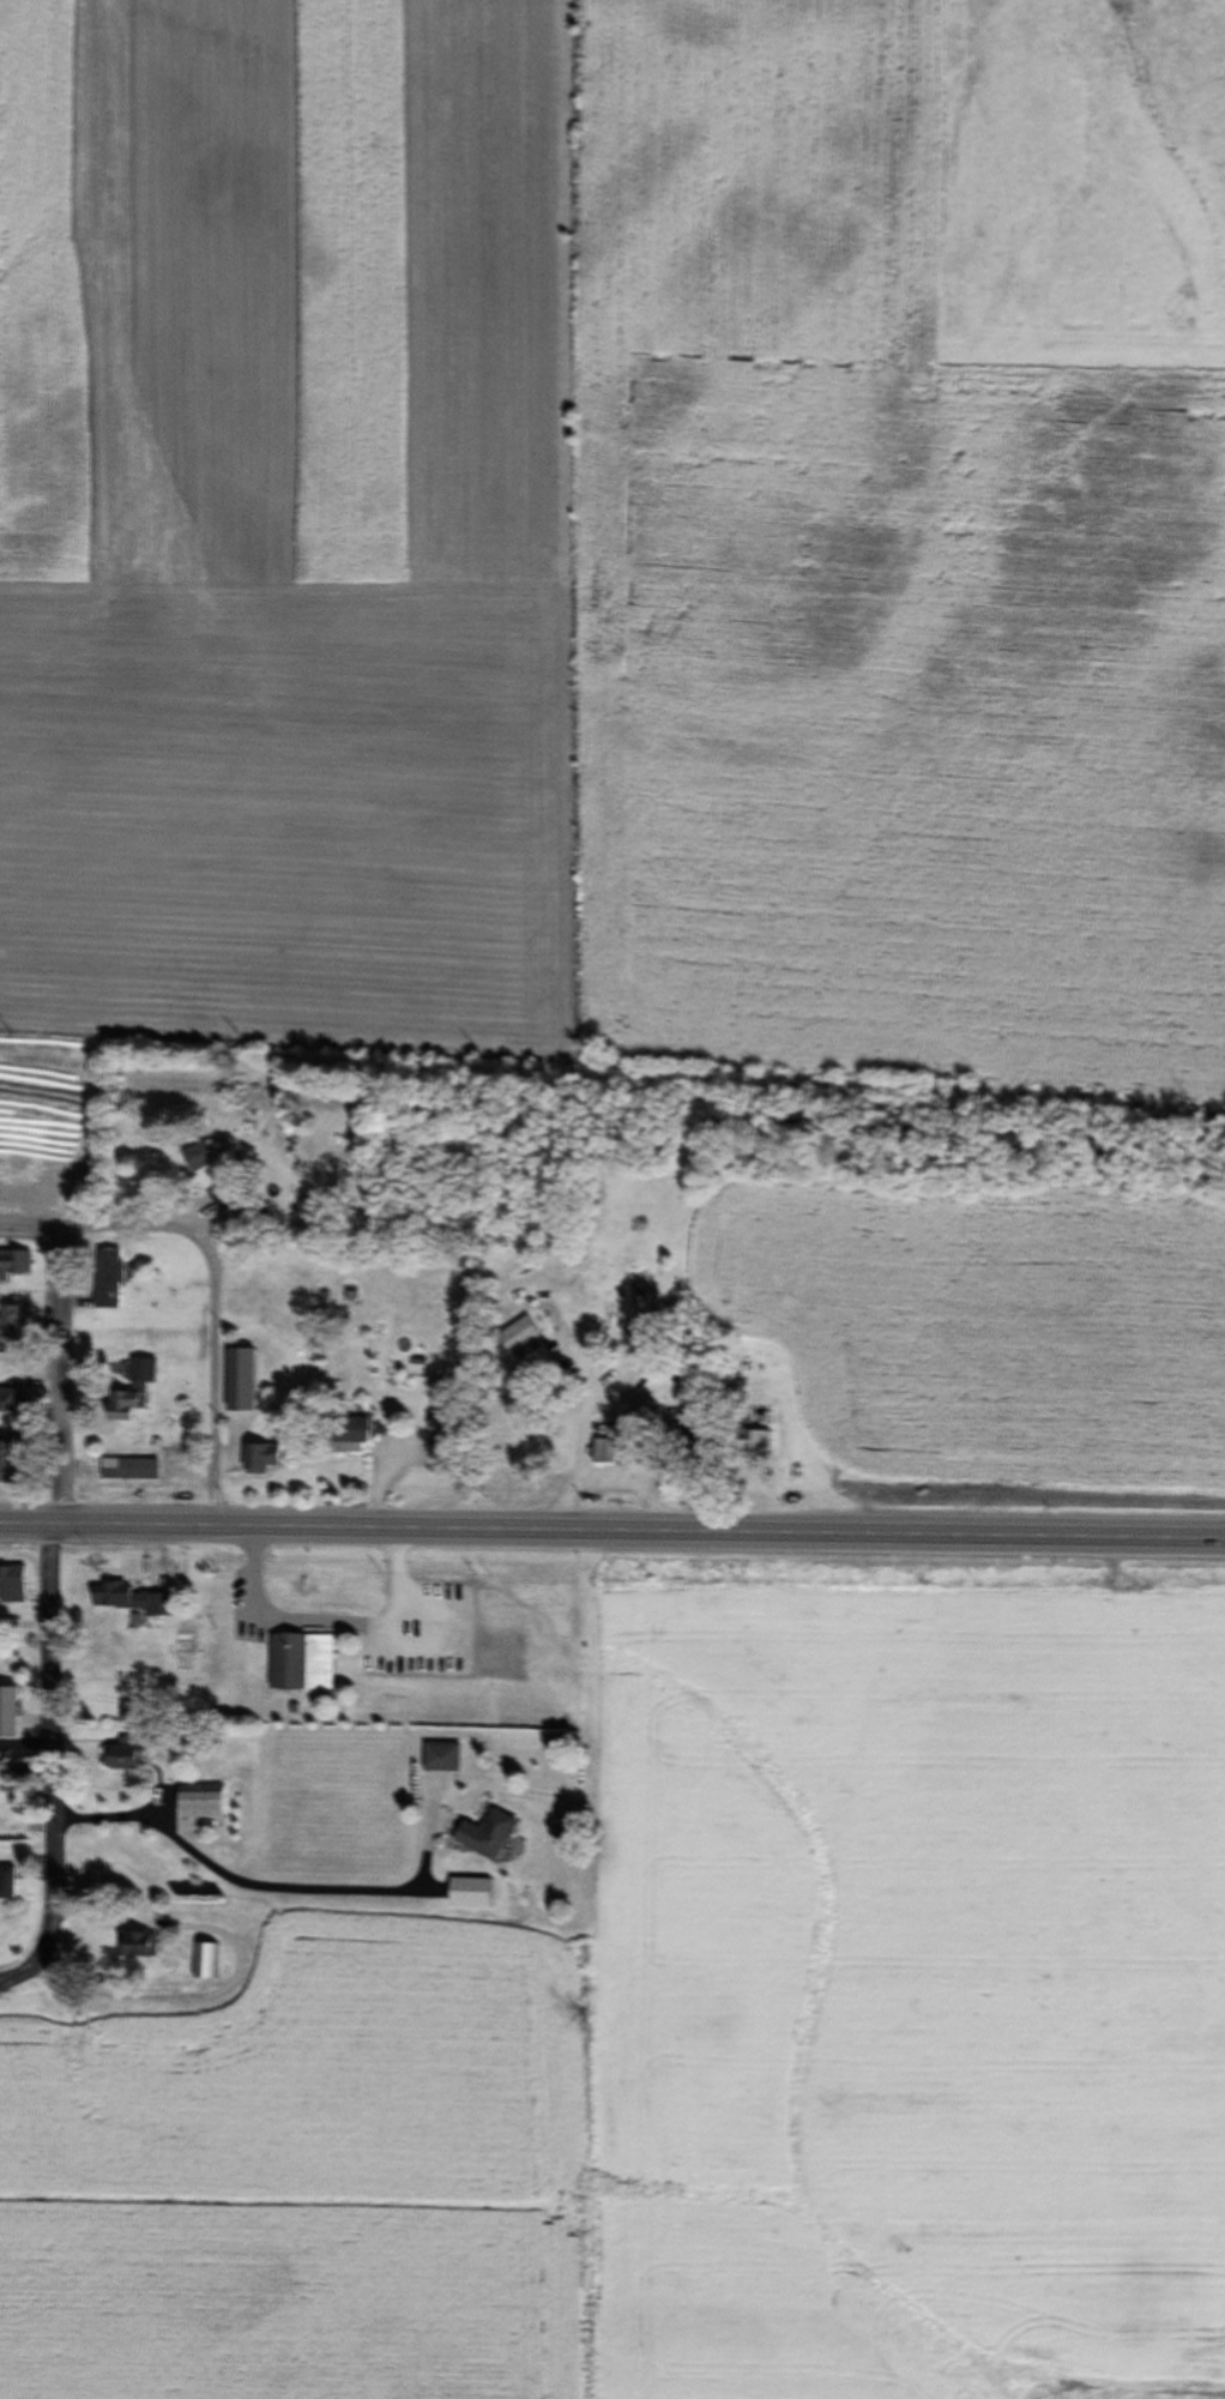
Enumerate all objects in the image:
building: (211, 1177)
building: (14, 1266)
building: (108, 1279)
road: (212, 1280)
building: (8, 1327)
building: (519, 1336)
road: (58, 1380)
building: (134, 1391)
building: (10, 1400)
building: (696, 1419)
building: (754, 1433)
building: (348, 1434)
building: (443, 1451)
building: (605, 1453)
building: (262, 1459)
building: (7, 1460)
building: (128, 1470)
road: (611, 1535)
building: (11, 1585)
building: (126, 1599)
building: (301, 1663)
building: (8, 1712)
building: (128, 1755)
building: (440, 1758)
road: (55, 1767)
building: (201, 1807)
building: (485, 1836)
building: (6, 1883)
building: (139, 1946)
building: (204, 1961)

